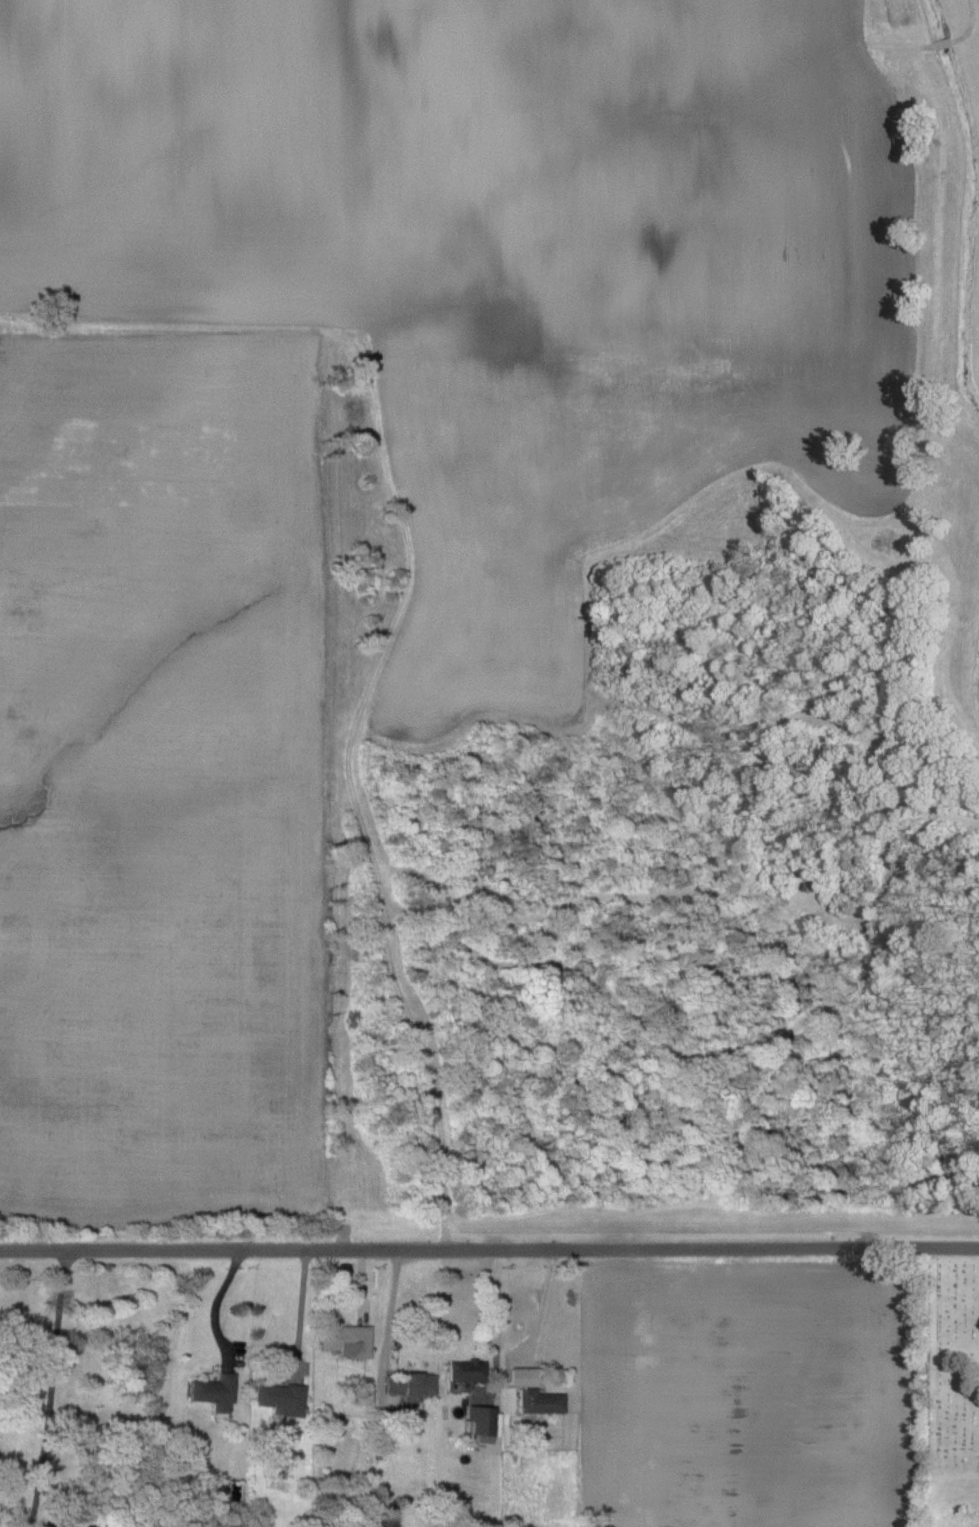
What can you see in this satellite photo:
road: (489, 1247)
road: (211, 1304)
road: (537, 1305)
road: (488, 1309)
road: (296, 1310)
road: (385, 1311)
building: (347, 1340)
building: (466, 1370)
building: (522, 1376)
building: (409, 1385)
road: (45, 1386)
building: (214, 1390)
building: (280, 1398)
building: (539, 1401)
building: (481, 1421)

